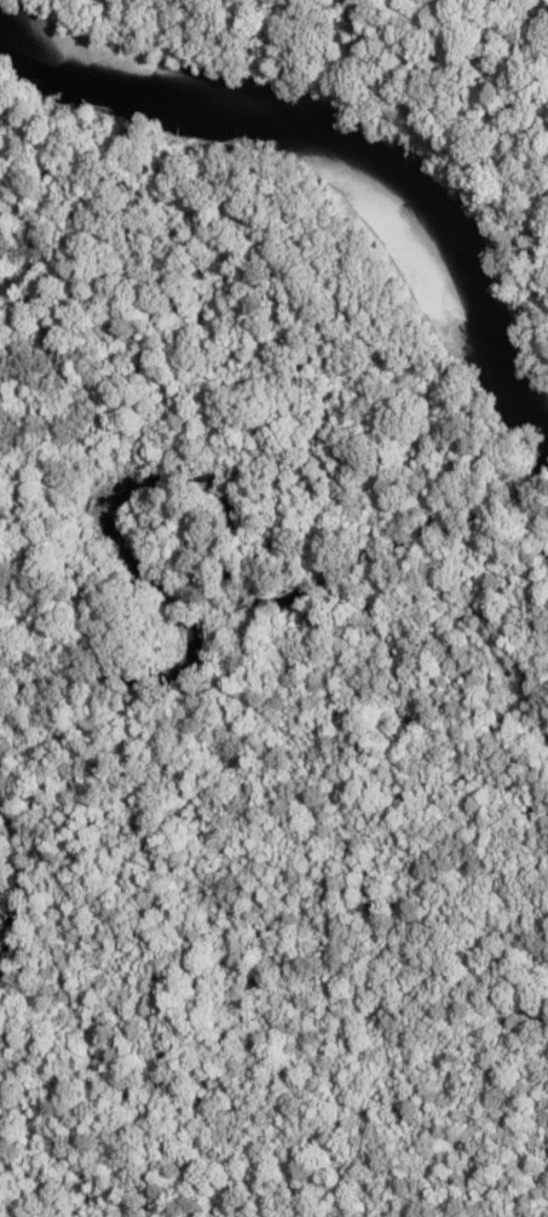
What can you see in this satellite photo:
river: (350, 133)
river: (200, 472)
river: (19, 880)

